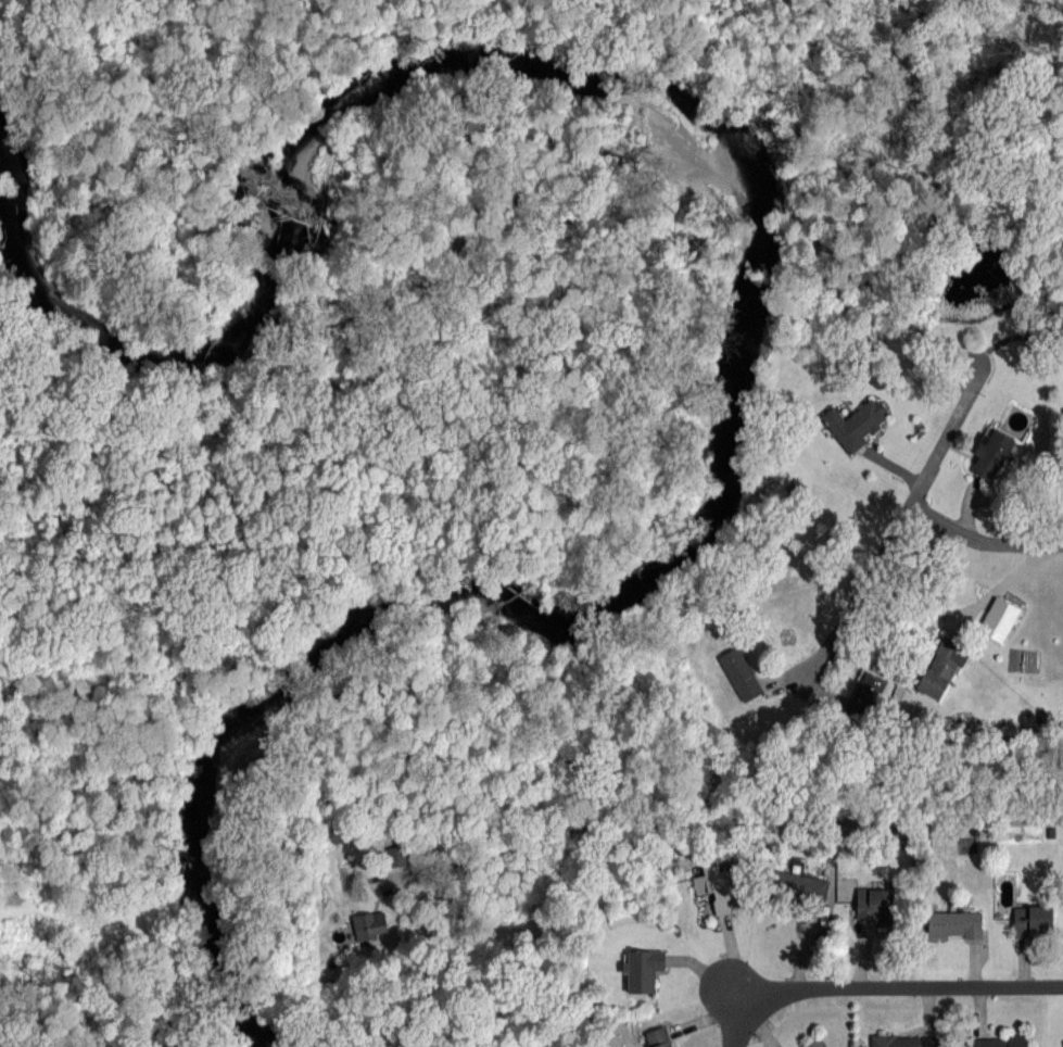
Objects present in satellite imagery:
river: (752, 253)
park: (248, 409)
building: (856, 424)
building: (991, 454)
road: (910, 513)
road: (985, 538)
road: (1004, 588)
building: (999, 619)
building: (941, 668)
building: (739, 673)
building: (869, 690)
road: (666, 821)
building: (398, 856)
building: (718, 885)
building: (799, 886)
building: (875, 904)
building: (1033, 921)
building: (952, 923)
building: (370, 924)
building: (642, 968)
road: (898, 981)
road: (733, 1022)
building: (657, 1037)
building: (903, 1040)
building: (1000, 1040)
building: (817, 1043)

